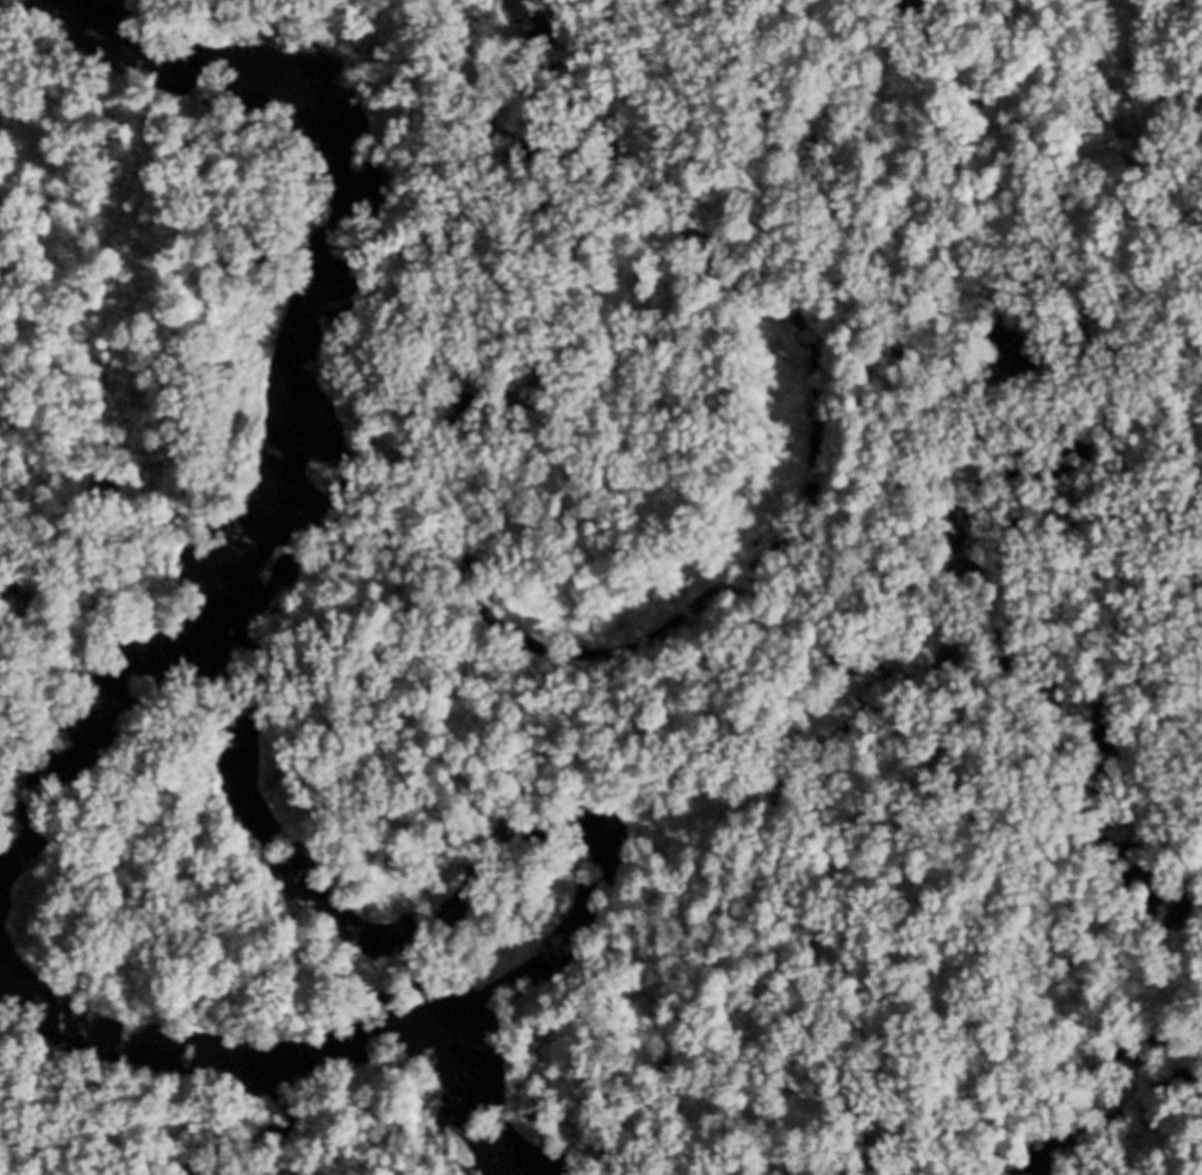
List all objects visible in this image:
river: (897, 591)

